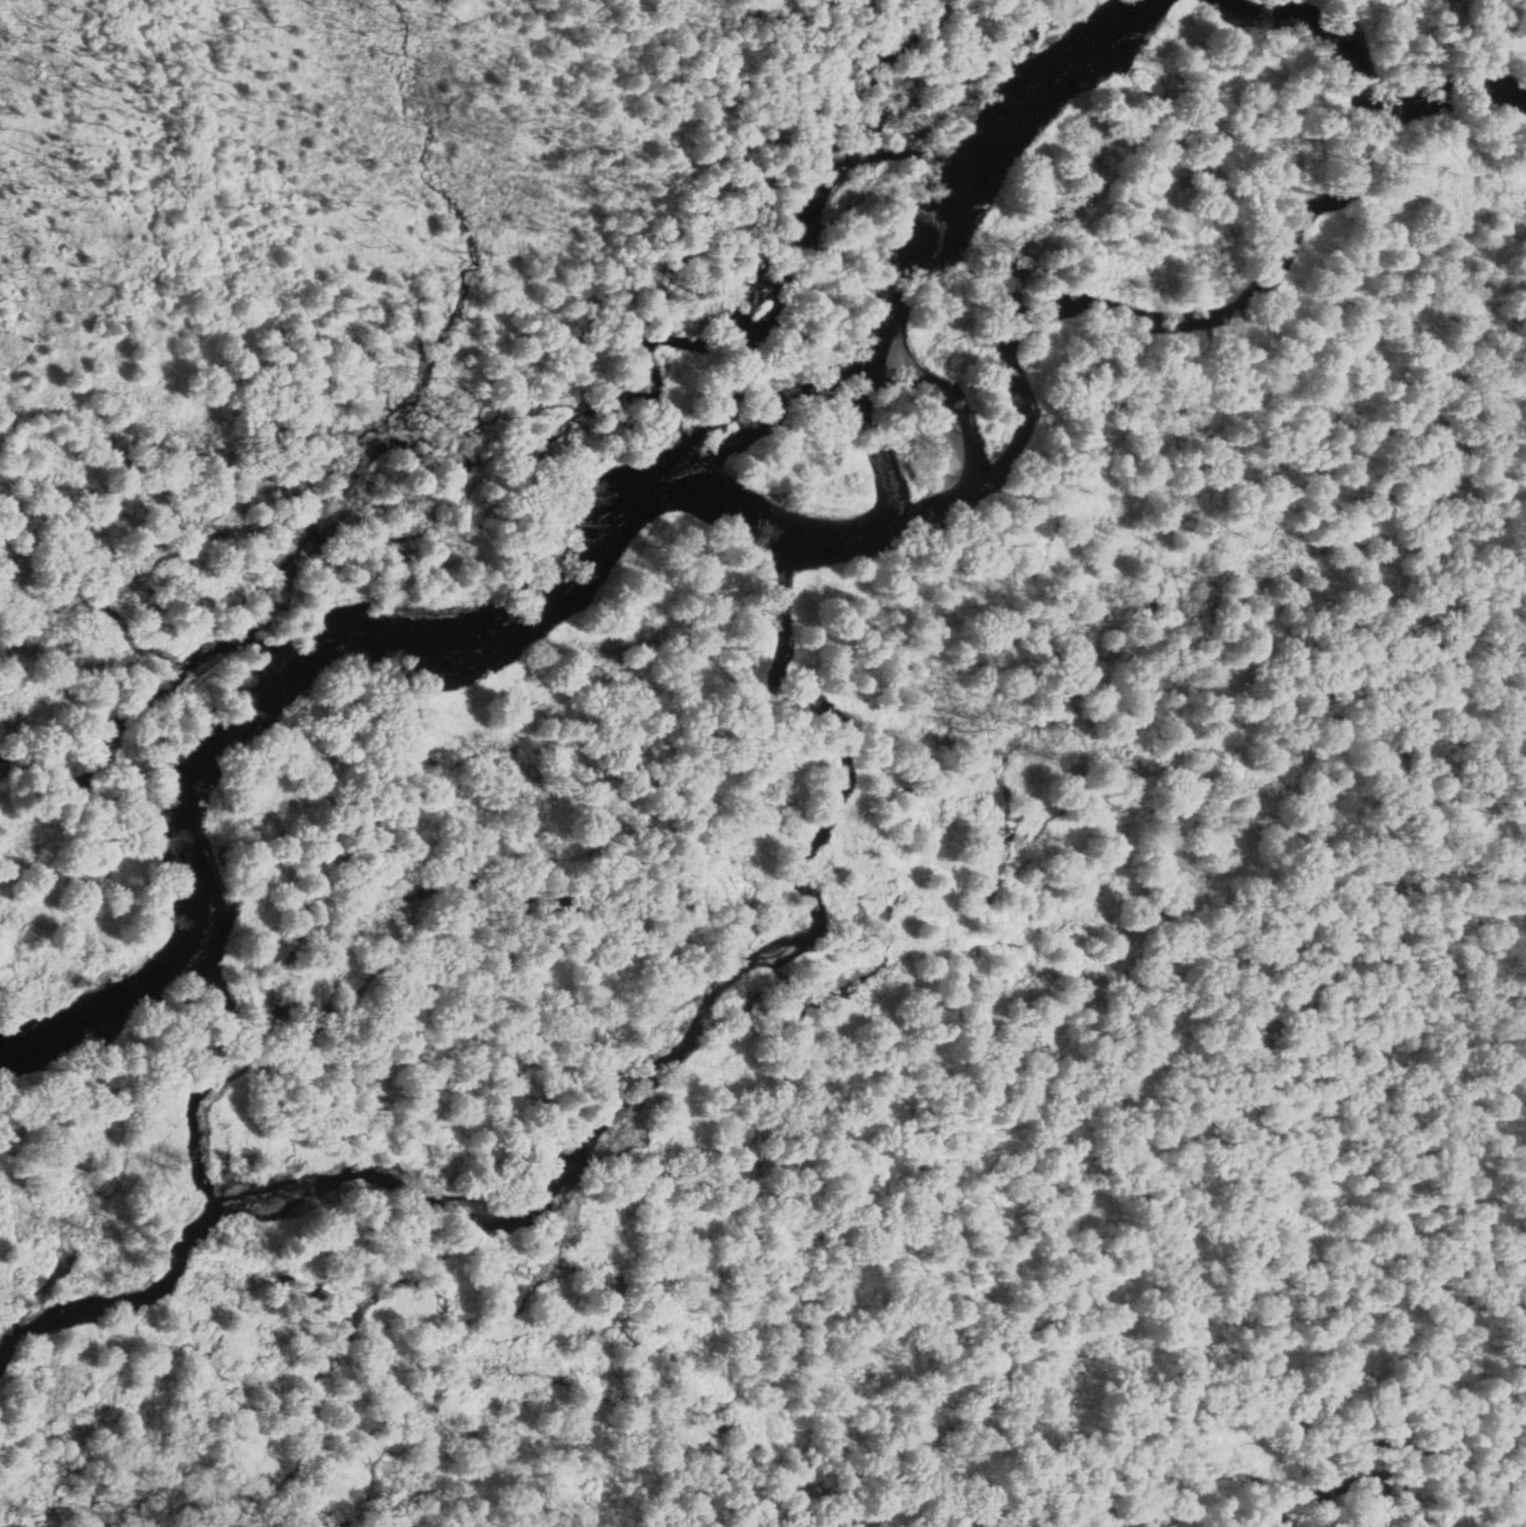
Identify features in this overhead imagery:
river: (629, 497)

